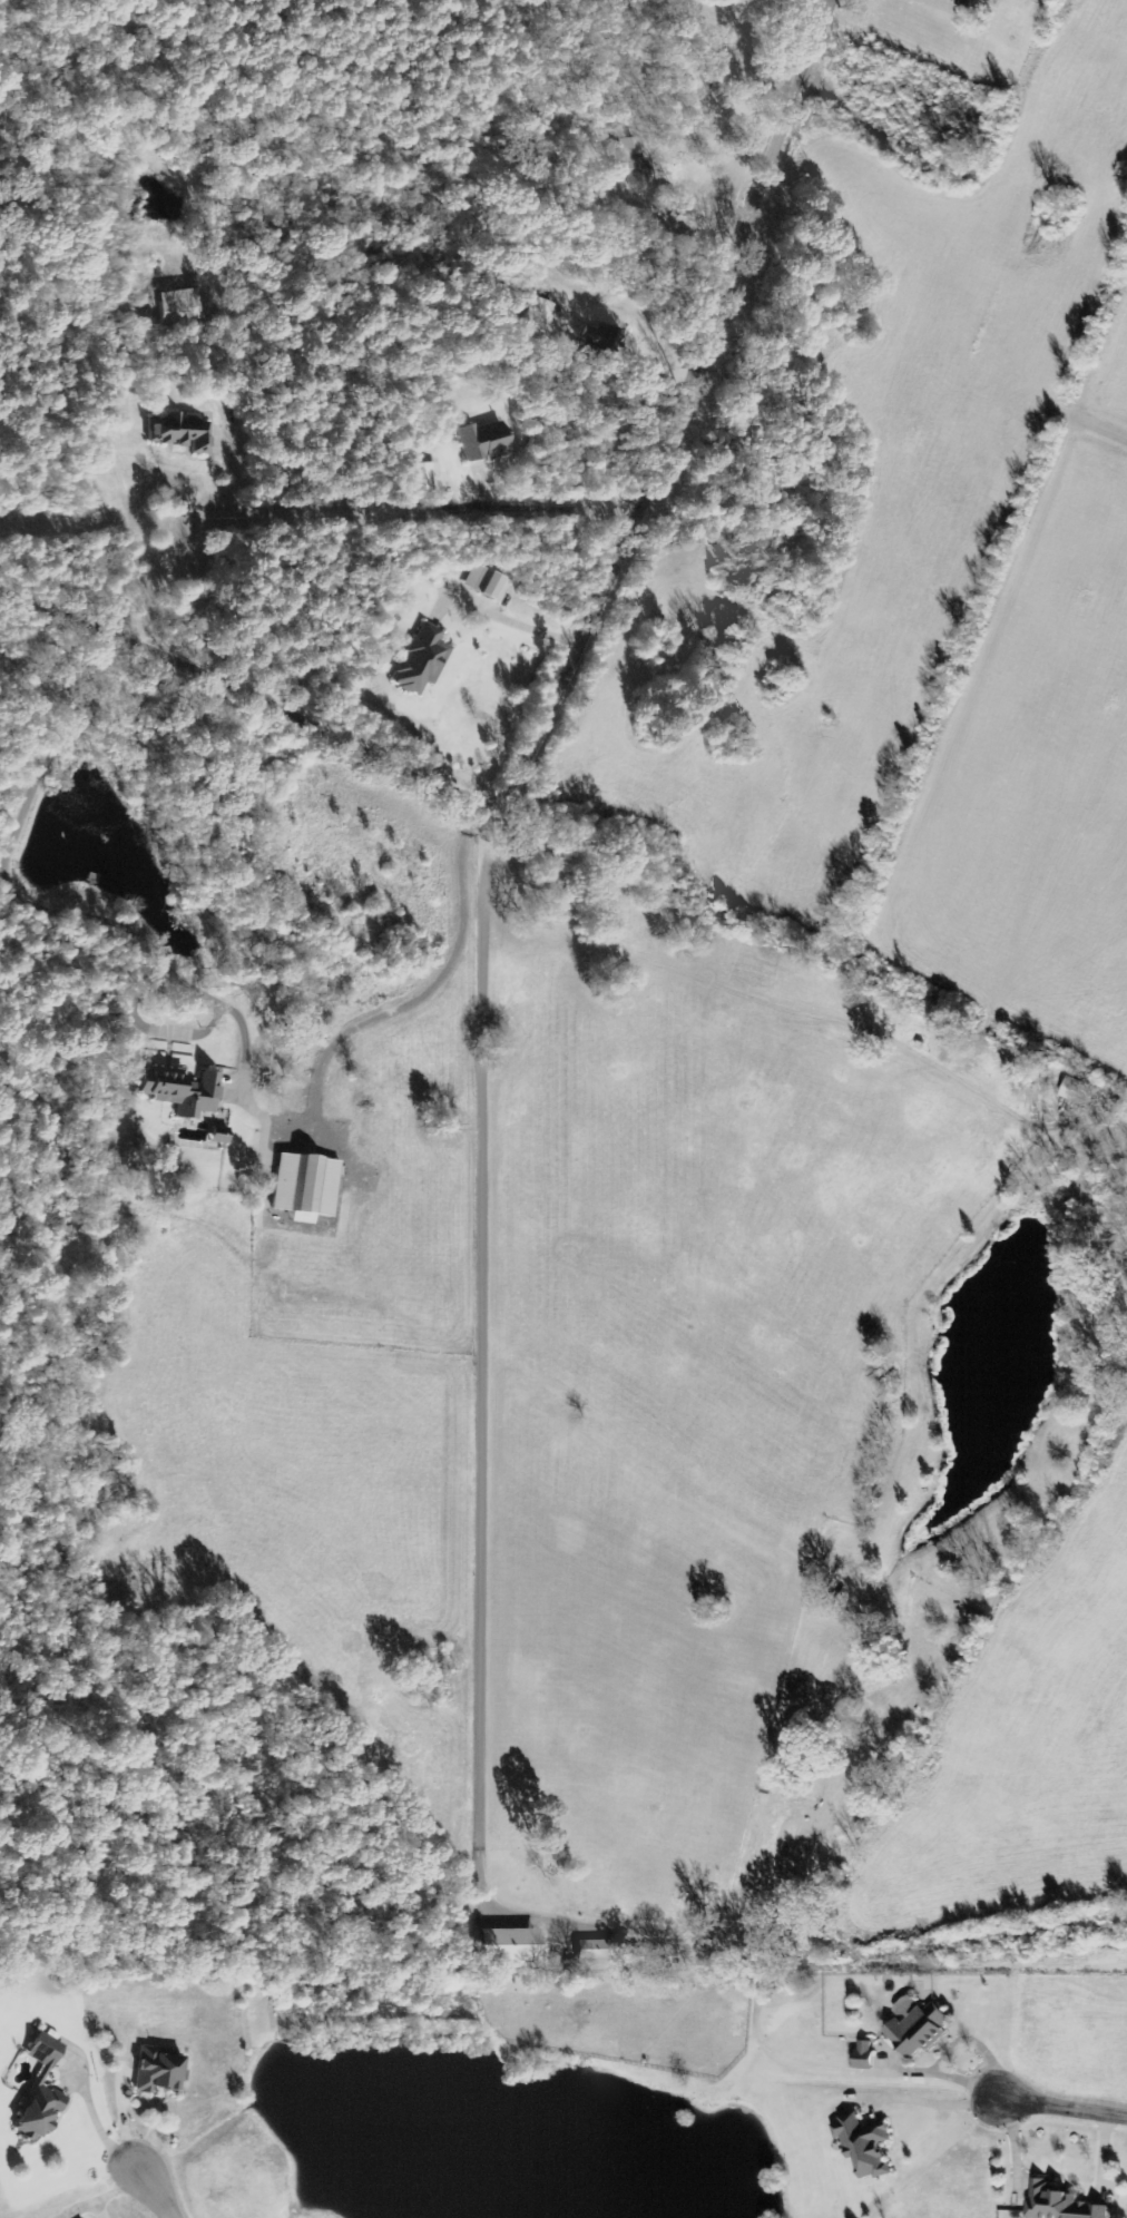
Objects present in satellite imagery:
building: (643, 168)
building: (186, 305)
building: (542, 316)
building: (601, 336)
building: (183, 432)
building: (486, 441)
building: (423, 475)
building: (487, 582)
building: (423, 659)
road: (578, 661)
building: (185, 1092)
building: (1084, 1093)
building: (1123, 1113)
building: (307, 1187)
building: (511, 1944)
building: (597, 1954)
building: (922, 2029)
building: (868, 2054)
building: (160, 2070)
building: (42, 2091)
road: (1060, 2104)
building: (868, 2145)
road: (155, 2191)
building: (1061, 2204)

